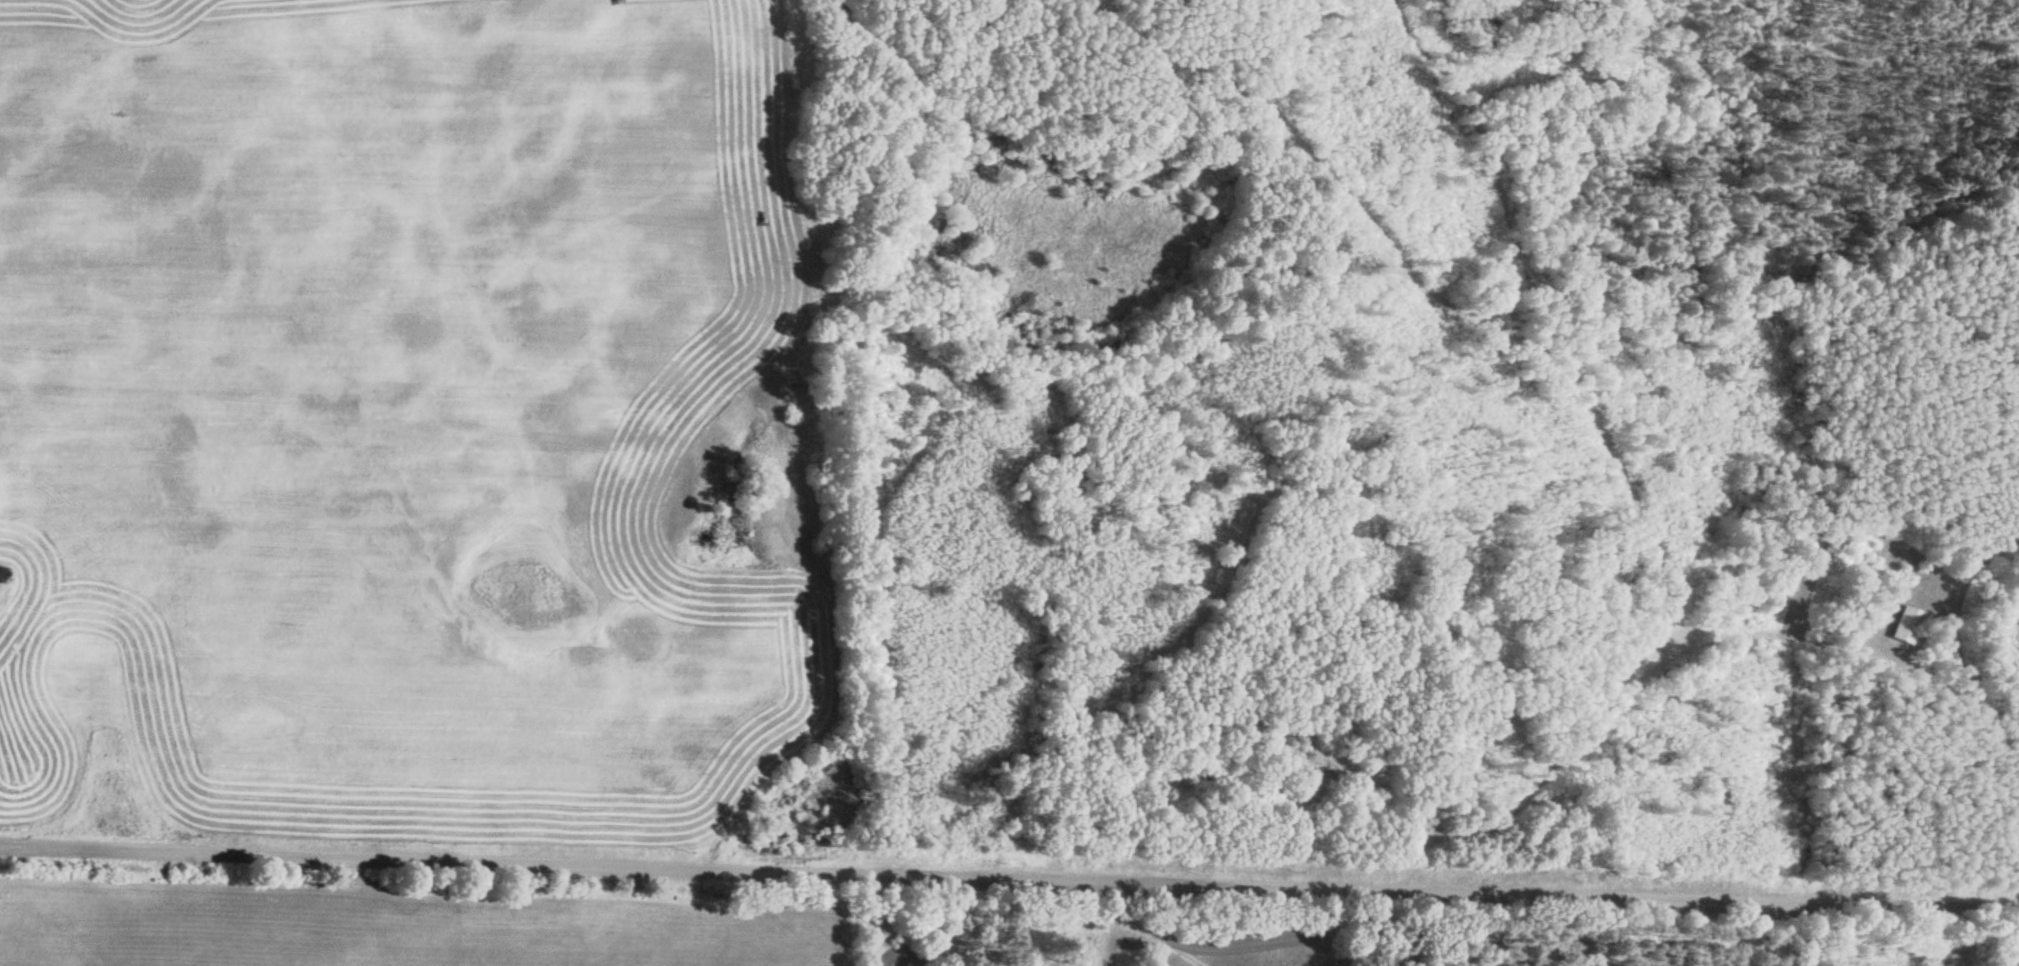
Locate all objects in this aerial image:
building: (1906, 624)
road: (1009, 885)

